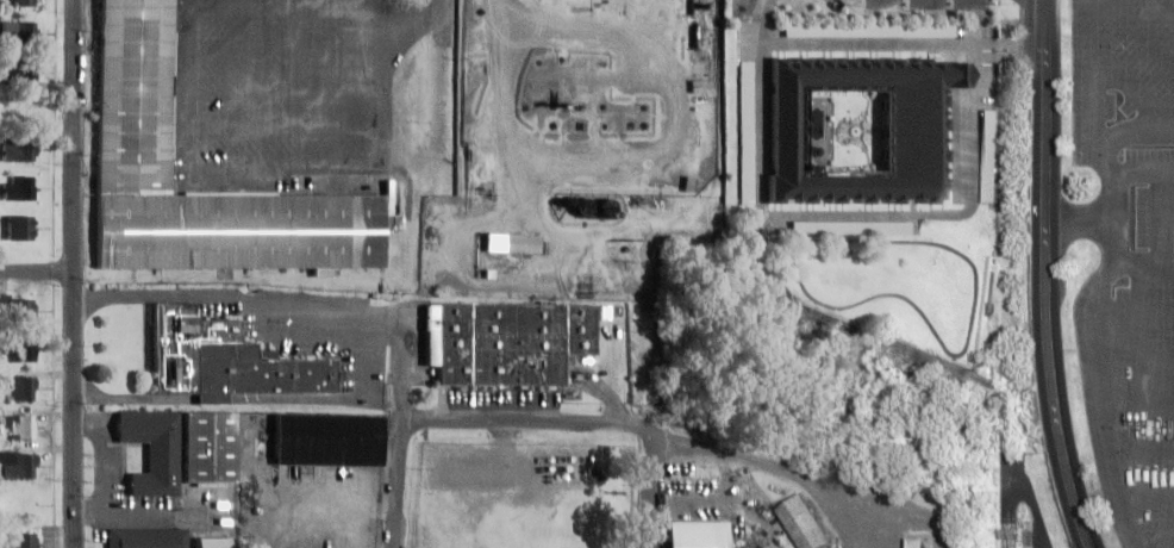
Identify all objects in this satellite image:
building: (23, 2)
parking lot: (888, 4)
parking lot: (932, 5)
parking lot: (975, 5)
road: (319, 12)
road: (371, 13)
road: (447, 23)
building: (872, 30)
road: (1142, 31)
building: (17, 32)
road: (1006, 44)
road: (288, 55)
road: (1007, 57)
building: (19, 71)
parking lot: (1120, 75)
road: (1092, 80)
road: (1134, 88)
parking lot: (291, 92)
road: (289, 95)
building: (135, 96)
road: (441, 124)
road: (763, 126)
road: (972, 129)
road: (291, 130)
building: (750, 133)
building: (913, 139)
building: (18, 150)
building: (989, 155)
road: (1137, 170)
road: (254, 173)
building: (20, 187)
building: (582, 207)
road: (1164, 210)
road: (1169, 213)
road: (1081, 224)
building: (20, 228)
building: (244, 231)
building: (513, 243)
road: (1145, 260)
road: (37, 273)
road: (74, 274)
road: (1044, 276)
building: (24, 310)
road: (1091, 311)
road: (1132, 311)
building: (507, 341)
road: (961, 348)
building: (20, 349)
parking lot: (1149, 353)
road: (1134, 356)
building: (227, 361)
building: (24, 387)
road: (1137, 403)
road: (524, 423)
building: (18, 426)
building: (331, 440)
building: (212, 448)
building: (154, 449)
road: (1142, 450)
building: (18, 465)
road: (399, 485)
road: (651, 487)
road: (1147, 496)
road: (1003, 503)
road: (1035, 512)
building: (804, 522)
building: (699, 534)
building: (148, 537)
building: (17, 540)
building: (214, 542)
building: (754, 543)
building: (914, 543)
road: (1154, 546)

